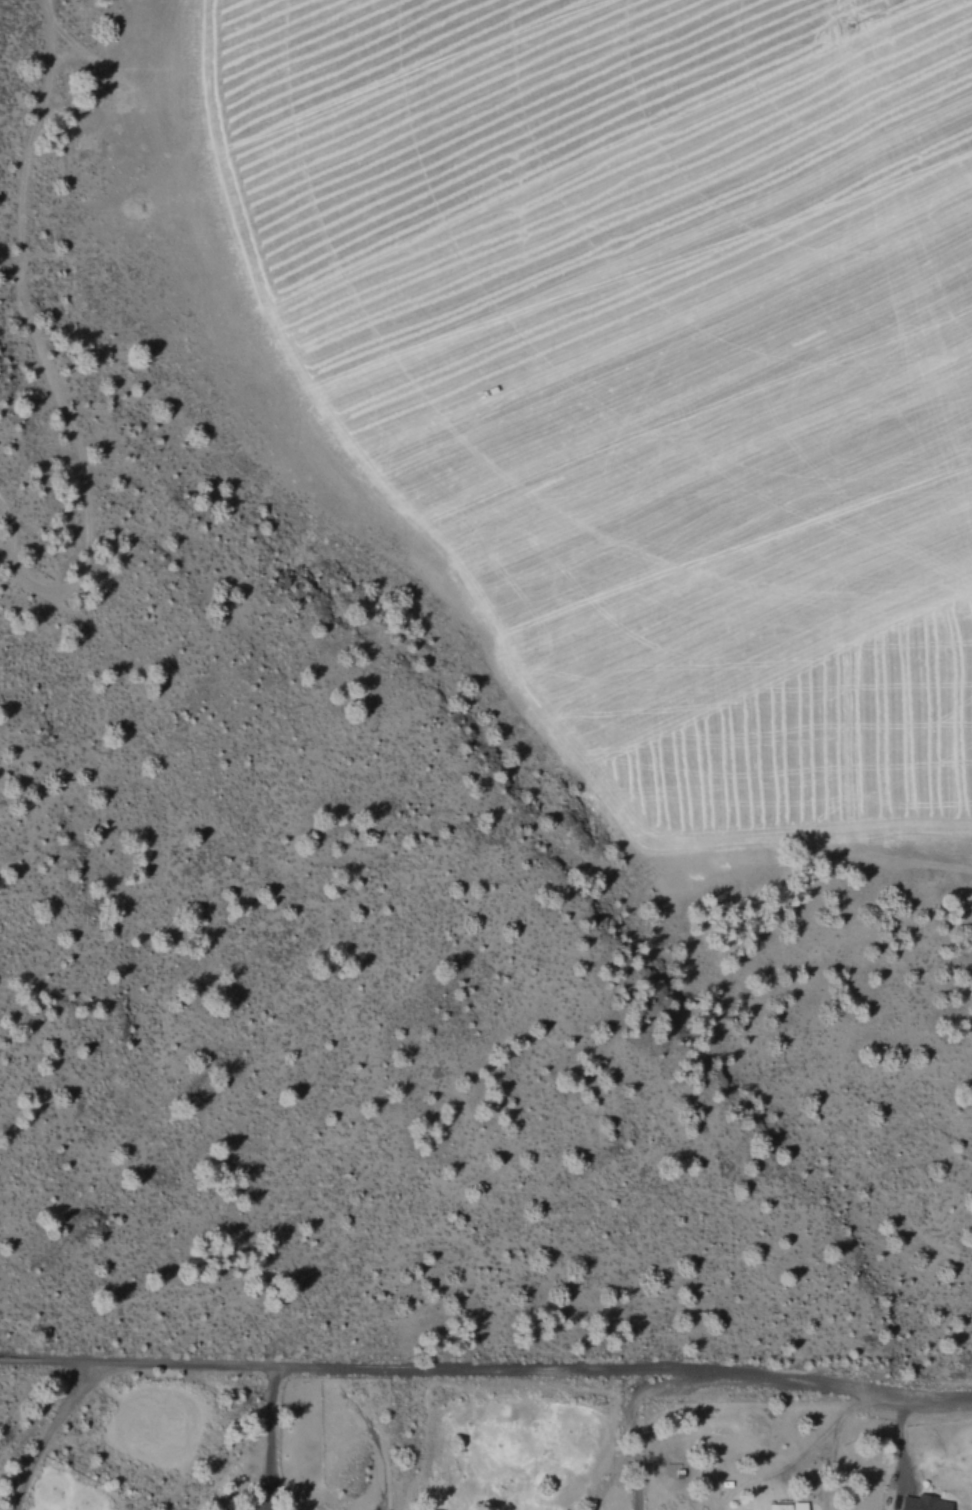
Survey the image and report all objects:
road: (487, 1364)
road: (51, 1435)
building: (924, 1502)
building: (787, 1505)

